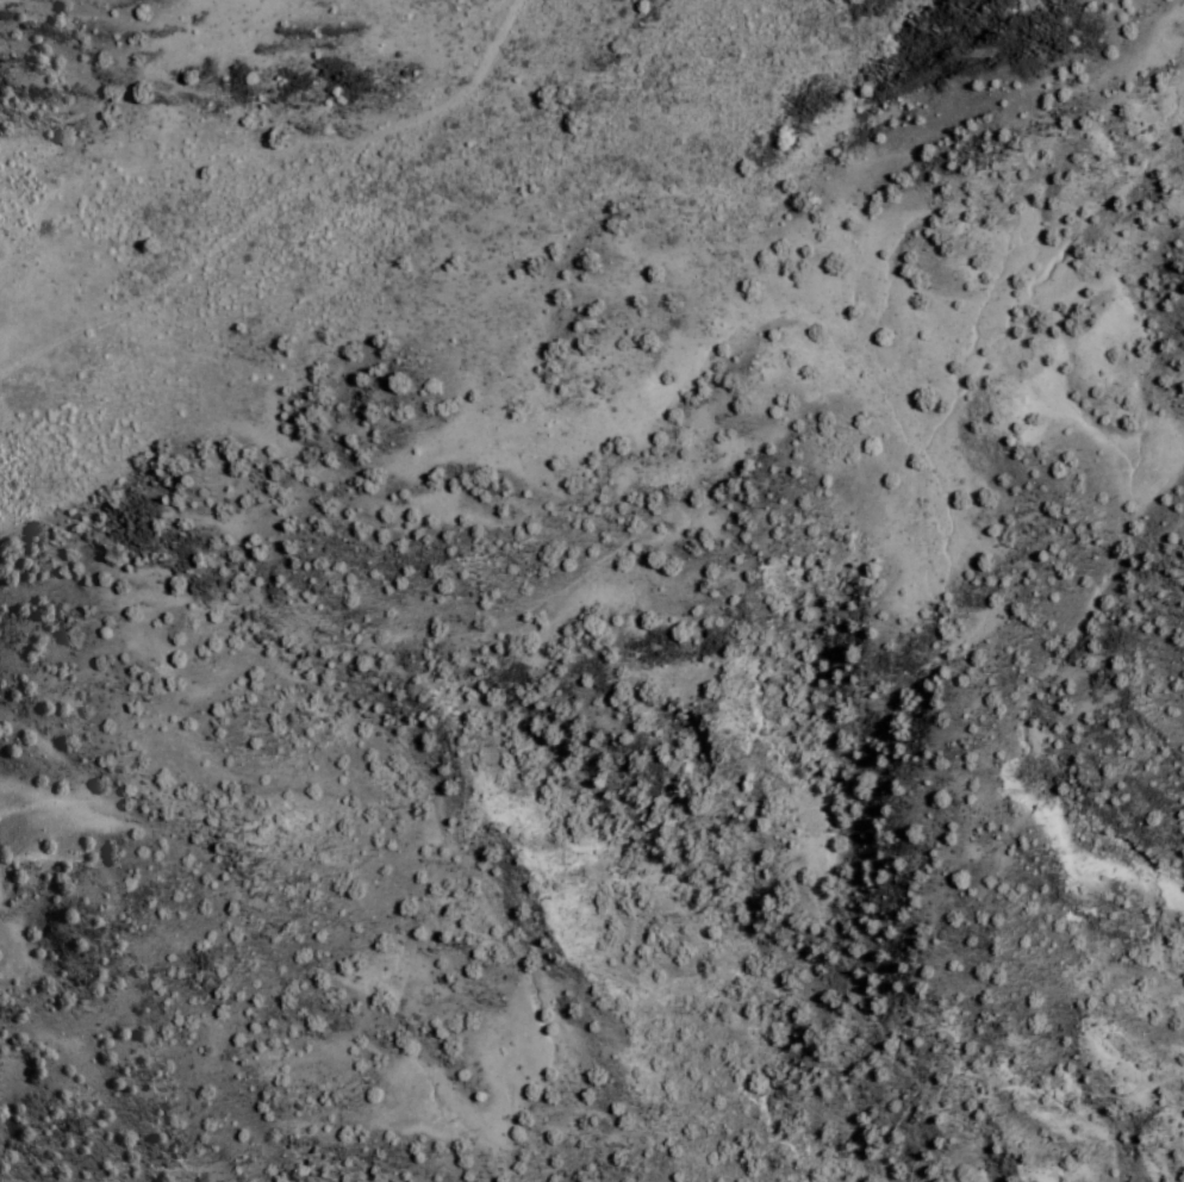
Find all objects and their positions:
road: (836, 626)

